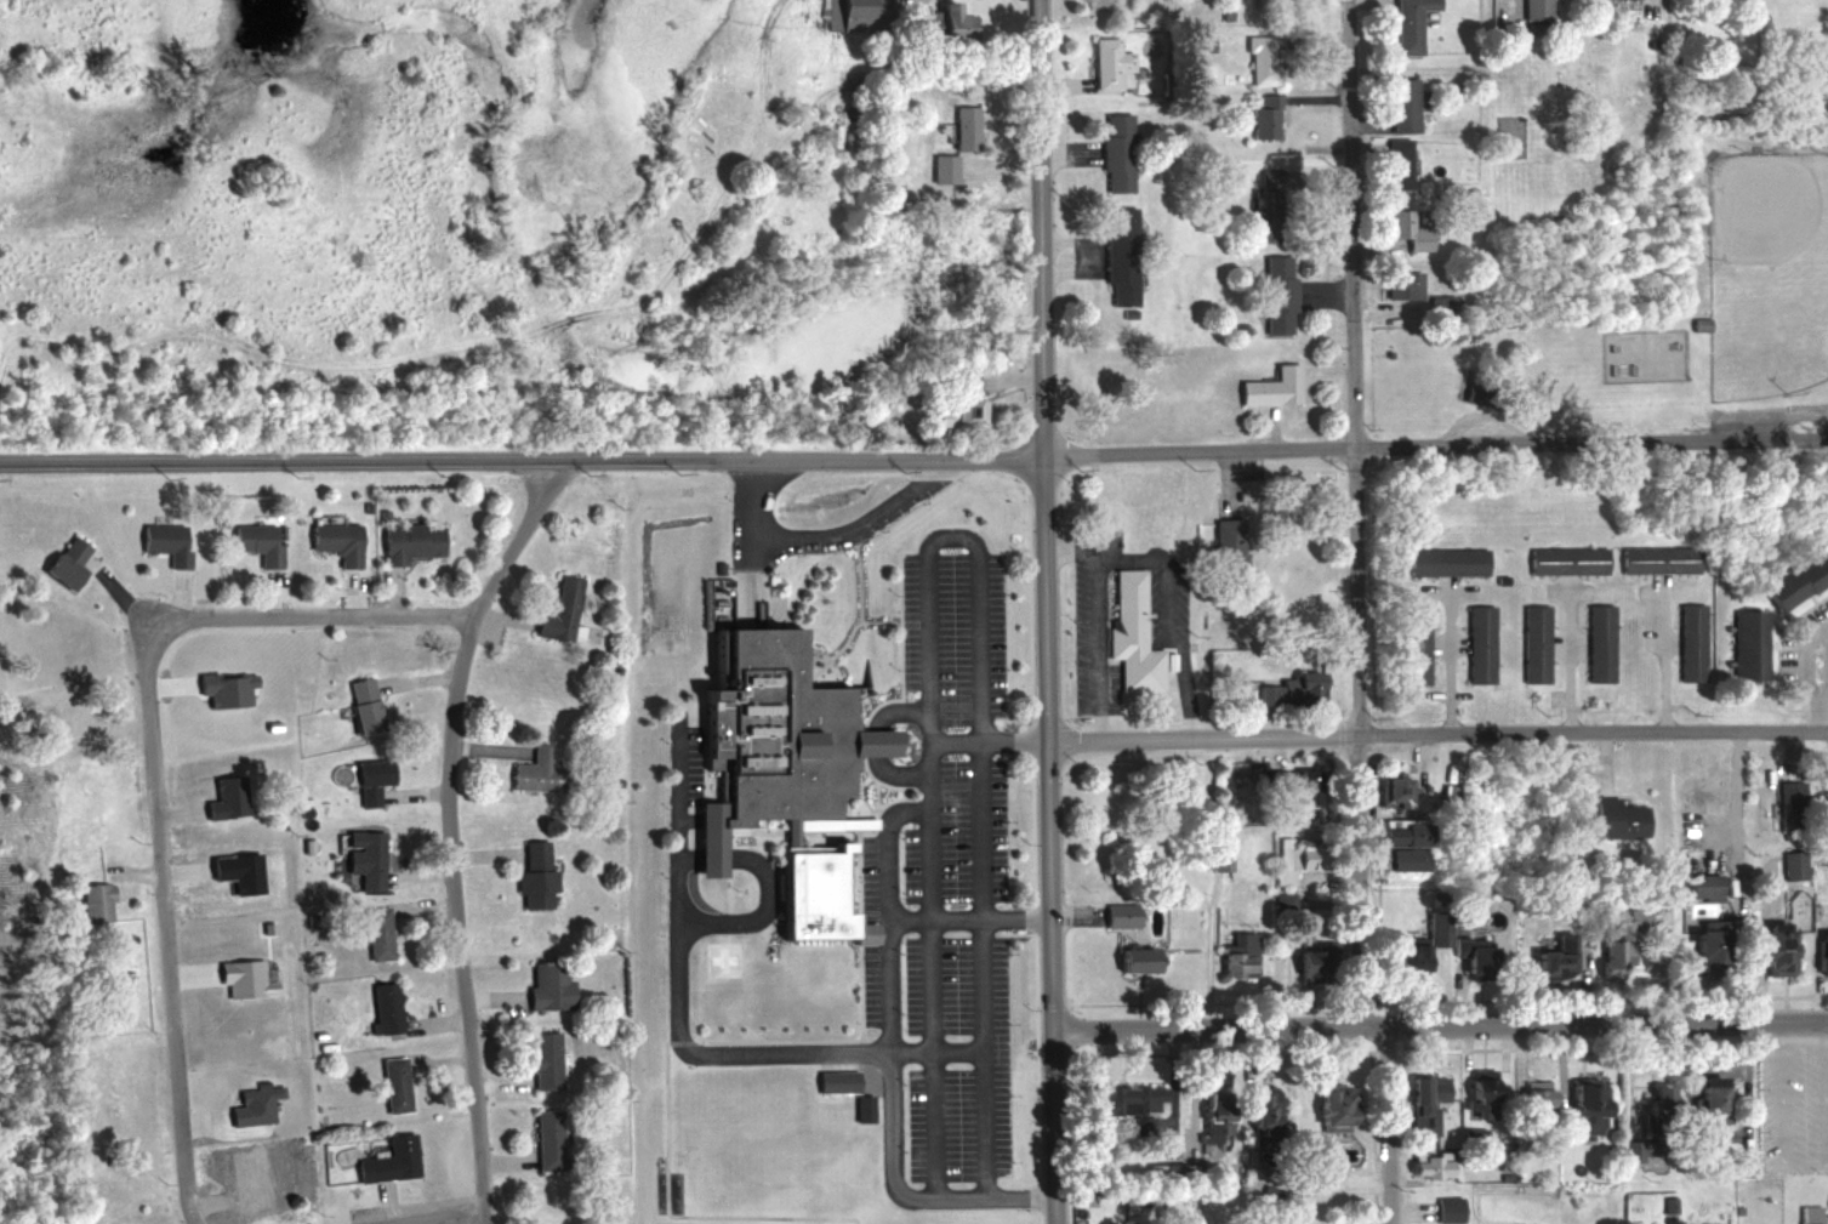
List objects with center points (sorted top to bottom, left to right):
building: (1531, 8)
building: (847, 12)
building: (933, 18)
building: (1406, 24)
building: (1259, 59)
building: (1104, 62)
building: (1397, 103)
building: (1263, 118)
building: (957, 126)
building: (1114, 152)
building: (939, 164)
building: (1394, 164)
building: (1282, 190)
building: (1403, 227)
building: (1120, 256)
park: (1756, 280)
building: (1396, 284)
building: (1276, 295)
building: (1436, 303)
building: (1699, 325)
building: (1269, 387)
building: (958, 403)
road: (1434, 445)
road: (520, 460)
building: (365, 503)
building: (381, 511)
road: (1356, 512)
building: (220, 516)
road: (828, 536)
road: (951, 536)
building: (405, 537)
building: (335, 540)
building: (161, 541)
building: (256, 541)
building: (1225, 545)
road: (1072, 550)
building: (64, 560)
building: (1567, 562)
building: (1659, 562)
building: (1447, 563)
building: (1793, 574)
road: (391, 593)
road: (180, 594)
road: (355, 596)
road: (273, 597)
road: (858, 599)
road: (127, 604)
building: (554, 607)
road: (1043, 611)
road: (1175, 615)
road: (330, 616)
road: (502, 617)
road: (876, 617)
building: (573, 630)
building: (1131, 634)
parking lot: (955, 636)
building: (1692, 643)
building: (1600, 644)
building: (1414, 645)
building: (1480, 645)
building: (1536, 645)
building: (1742, 645)
road: (1097, 654)
road: (1664, 656)
road: (1571, 661)
road: (1452, 664)
road: (418, 678)
road: (167, 683)
building: (222, 685)
road: (895, 690)
building: (1287, 690)
building: (359, 702)
road: (1817, 706)
building: (271, 722)
road: (1436, 734)
road: (869, 739)
road: (985, 741)
road: (485, 745)
building: (775, 768)
building: (535, 772)
building: (366, 775)
building: (1827, 780)
road: (415, 786)
building: (1300, 786)
building: (1391, 791)
road: (873, 795)
building: (223, 796)
building: (304, 798)
road: (175, 810)
building: (303, 810)
building: (1612, 819)
road: (448, 833)
parking lot: (962, 837)
building: (304, 843)
building: (1401, 849)
road: (483, 853)
building: (360, 854)
building: (1214, 856)
building: (1287, 859)
building: (1792, 865)
road: (182, 867)
building: (237, 870)
road: (141, 871)
building: (533, 875)
road: (423, 876)
road: (765, 886)
building: (1699, 896)
building: (89, 899)
building: (1281, 903)
road: (422, 905)
road: (164, 913)
road: (966, 915)
building: (1116, 915)
building: (264, 926)
building: (374, 929)
building: (1618, 941)
building: (1413, 945)
building: (1697, 945)
building: (1770, 949)
building: (1820, 952)
helipad: (721, 957)
building: (1465, 957)
building: (1547, 958)
building: (1133, 960)
building: (1298, 961)
road: (190, 973)
building: (246, 977)
building: (547, 985)
road: (491, 997)
building: (382, 1004)
road: (435, 1020)
road: (1437, 1025)
building: (315, 1031)
road: (680, 1031)
road: (853, 1041)
road: (684, 1043)
building: (325, 1044)
road: (439, 1057)
parking lot: (959, 1058)
building: (542, 1060)
road: (887, 1060)
building: (838, 1080)
building: (393, 1081)
road: (499, 1081)
building: (1474, 1093)
building: (1648, 1095)
building: (1127, 1099)
building: (252, 1100)
building: (1420, 1104)
building: (1698, 1104)
building: (1257, 1105)
building: (1528, 1106)
building: (1323, 1109)
building: (1576, 1111)
building: (1209, 1118)
road: (1385, 1125)
road: (223, 1131)
building: (545, 1139)
building: (388, 1157)
road: (503, 1162)
building: (1420, 1166)
building: (1298, 1183)
road: (382, 1205)
building: (1443, 1209)
road: (433, 1213)
building: (1805, 1214)
road: (677, 1217)

